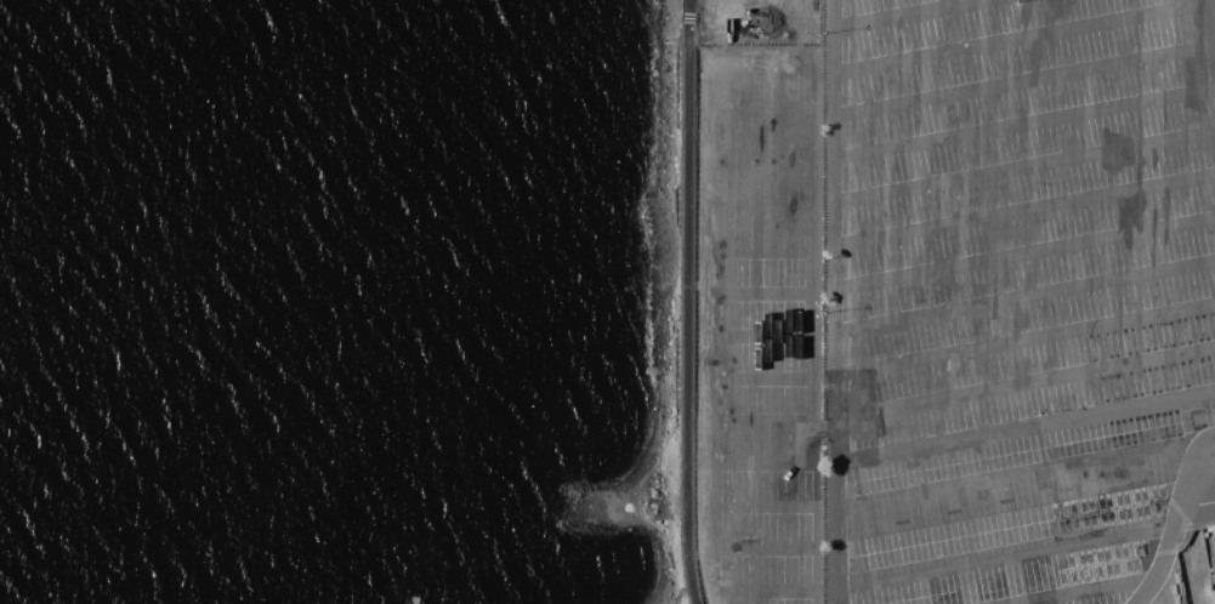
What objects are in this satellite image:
road: (910, 13)
road: (1209, 23)
road: (1021, 36)
road: (761, 78)
road: (1024, 80)
road: (1024, 124)
road: (761, 125)
road: (761, 165)
road: (1024, 166)
road: (1026, 209)
road: (761, 210)
road: (760, 253)
road: (1026, 255)
parking lot: (1024, 292)
road: (759, 294)
road: (1026, 297)
road: (836, 301)
road: (685, 302)
parking lot: (760, 323)
road: (759, 334)
road: (1026, 337)
road: (700, 341)
road: (816, 341)
road: (759, 378)
road: (1026, 383)
road: (759, 426)
road: (1026, 427)
road: (757, 463)
road: (1017, 486)
road: (757, 502)
road: (1179, 523)
road: (757, 543)
road: (1009, 552)
road: (760, 586)
road: (1083, 587)

